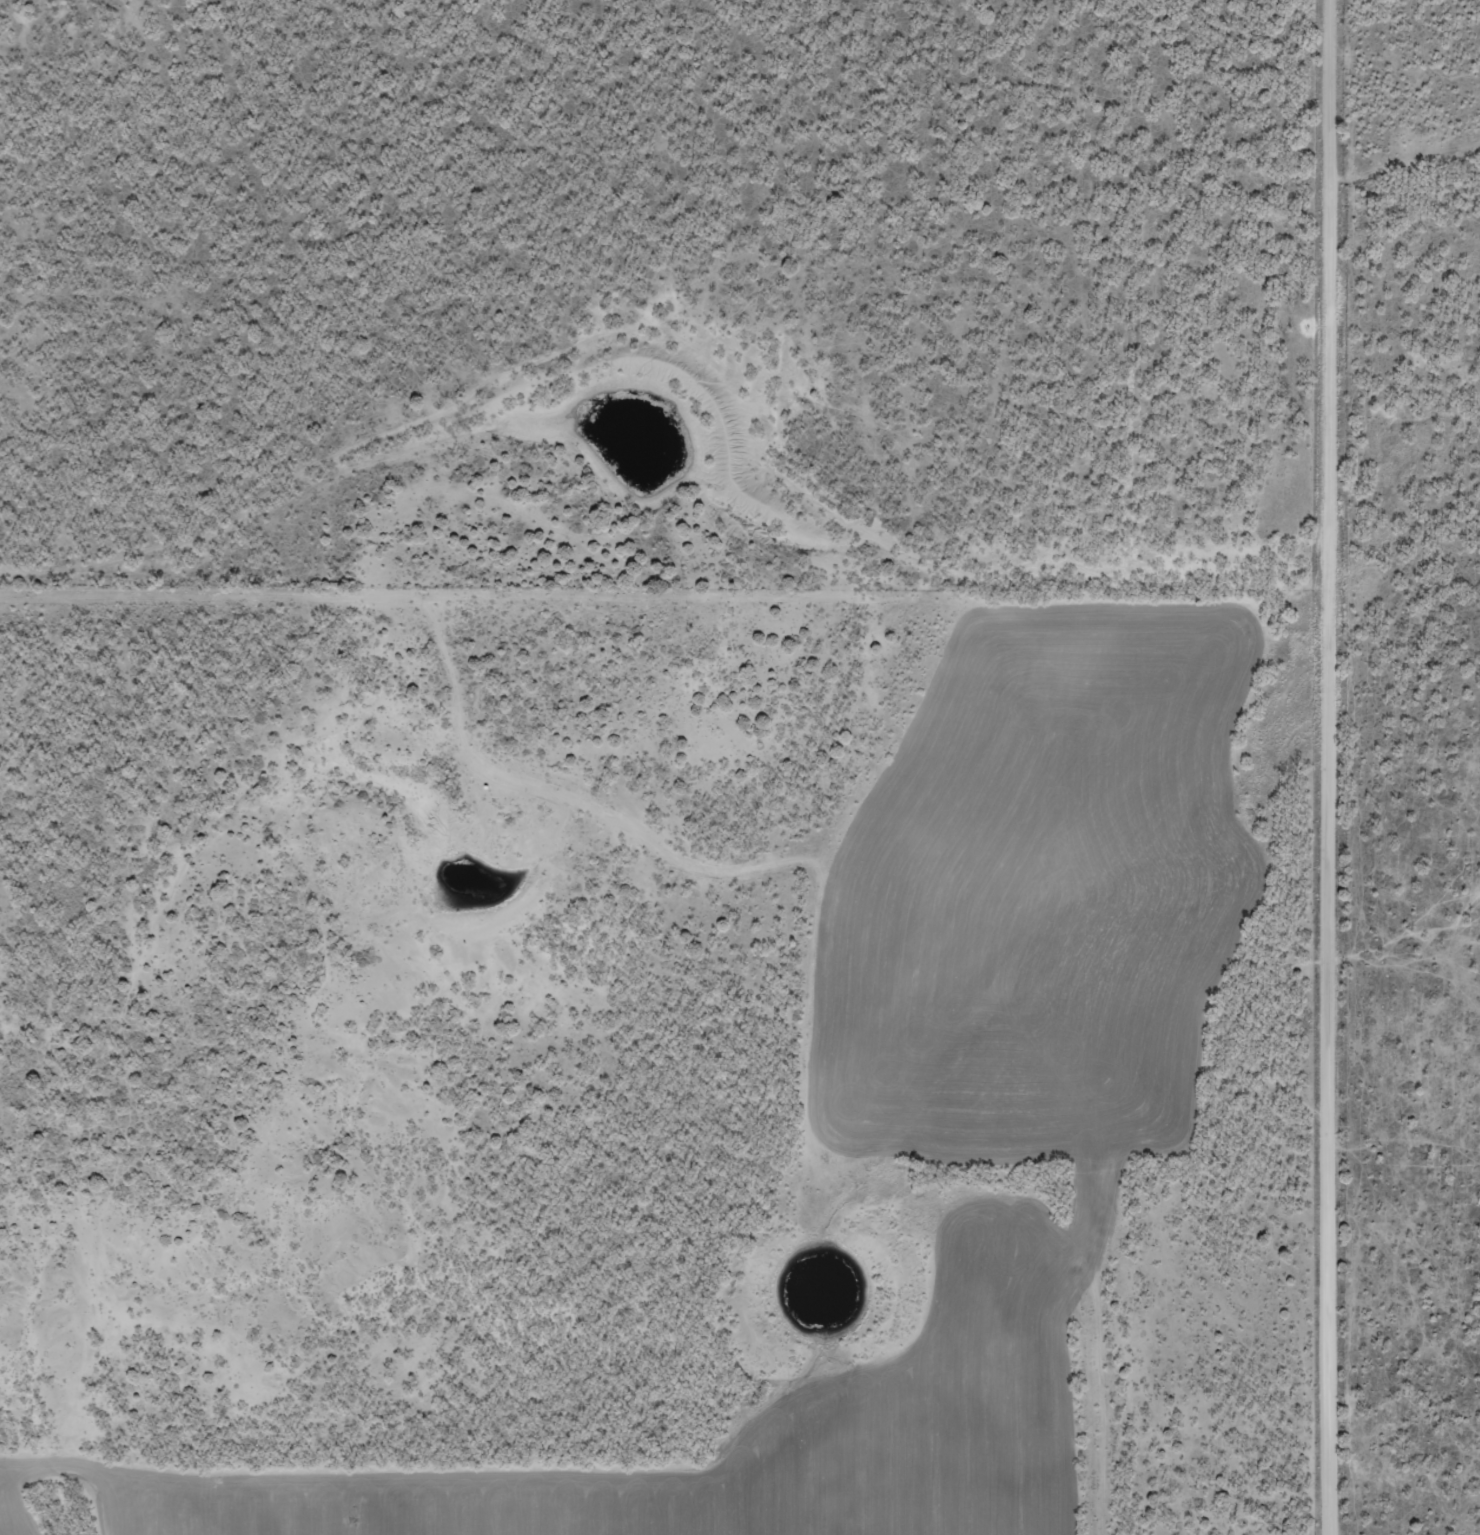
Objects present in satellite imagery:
road: (1339, 767)

